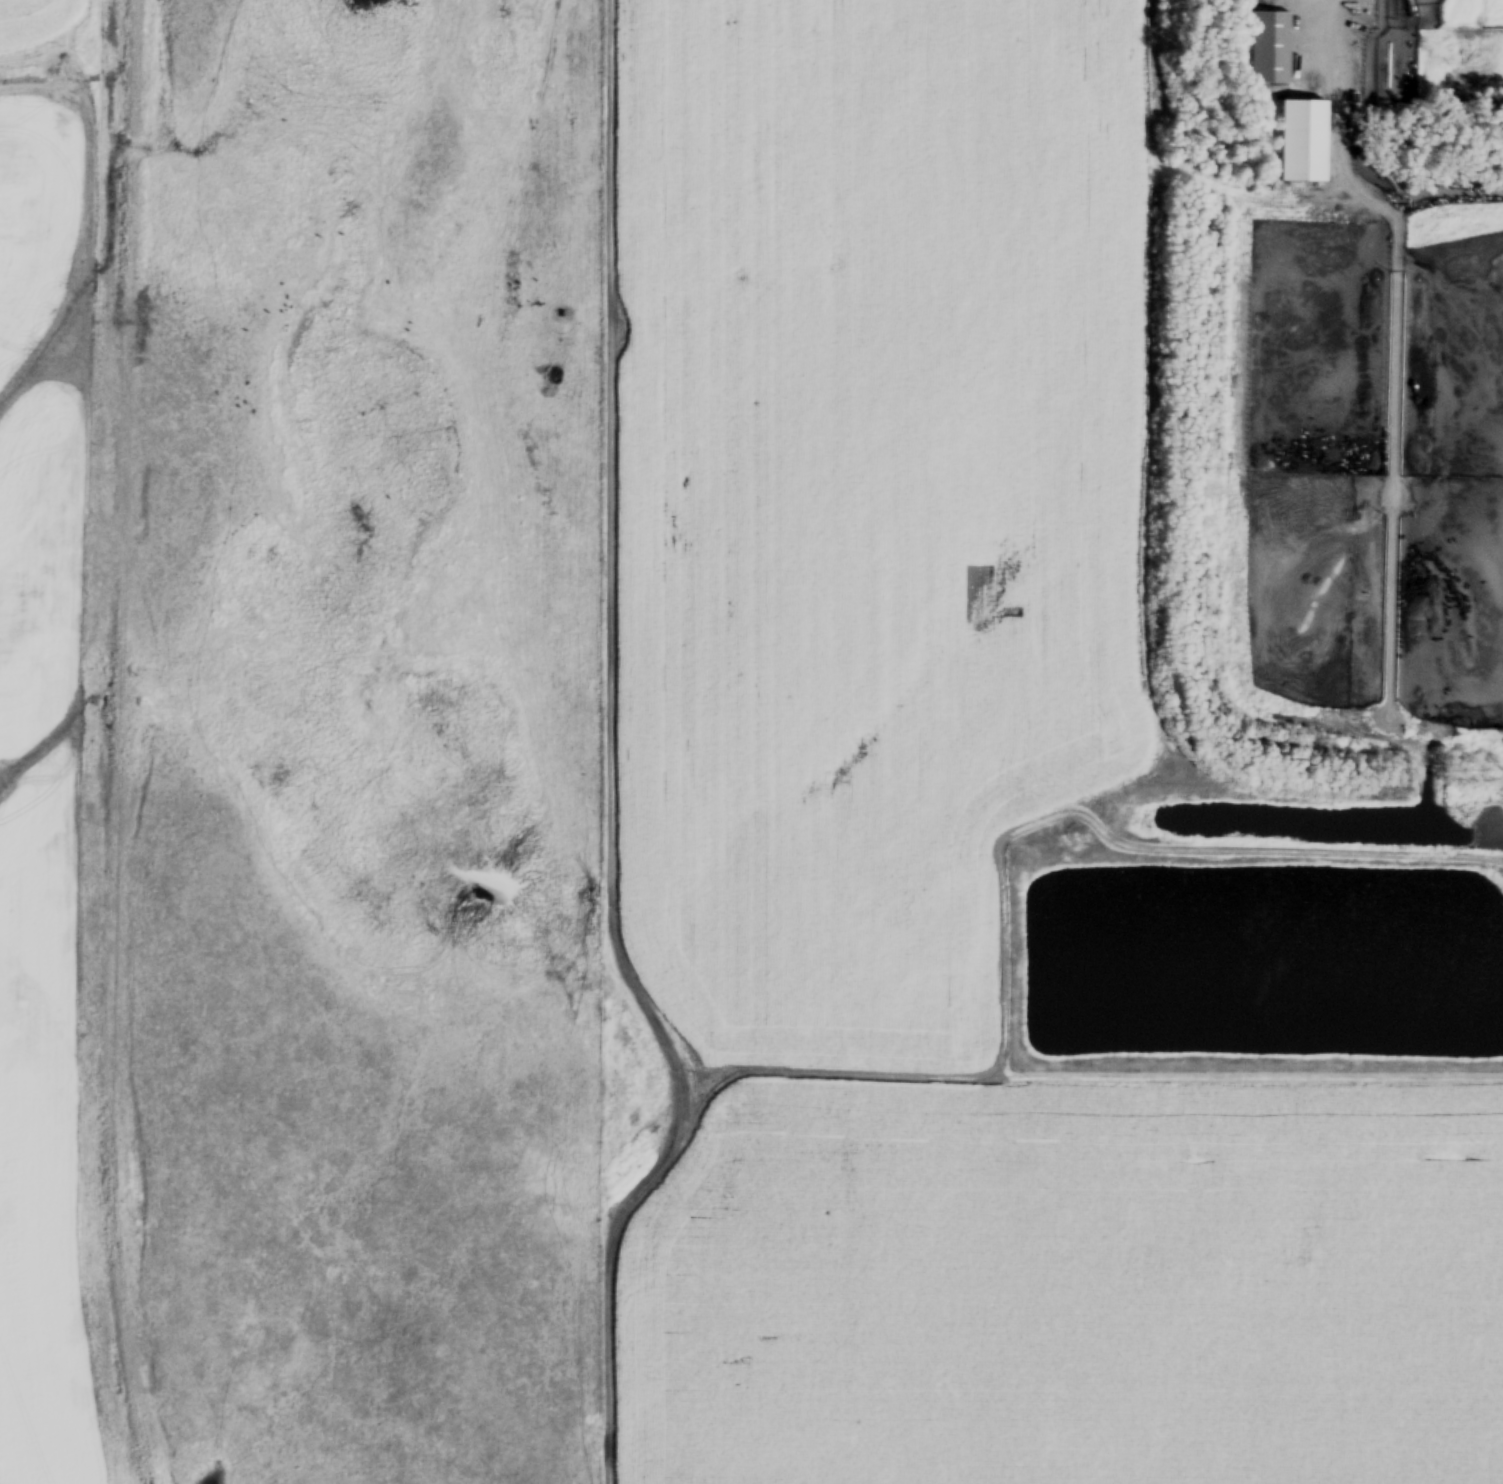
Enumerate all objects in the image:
building: (1465, 41)
building: (1272, 48)
building: (1305, 141)
road: (1447, 188)
road: (1312, 718)

